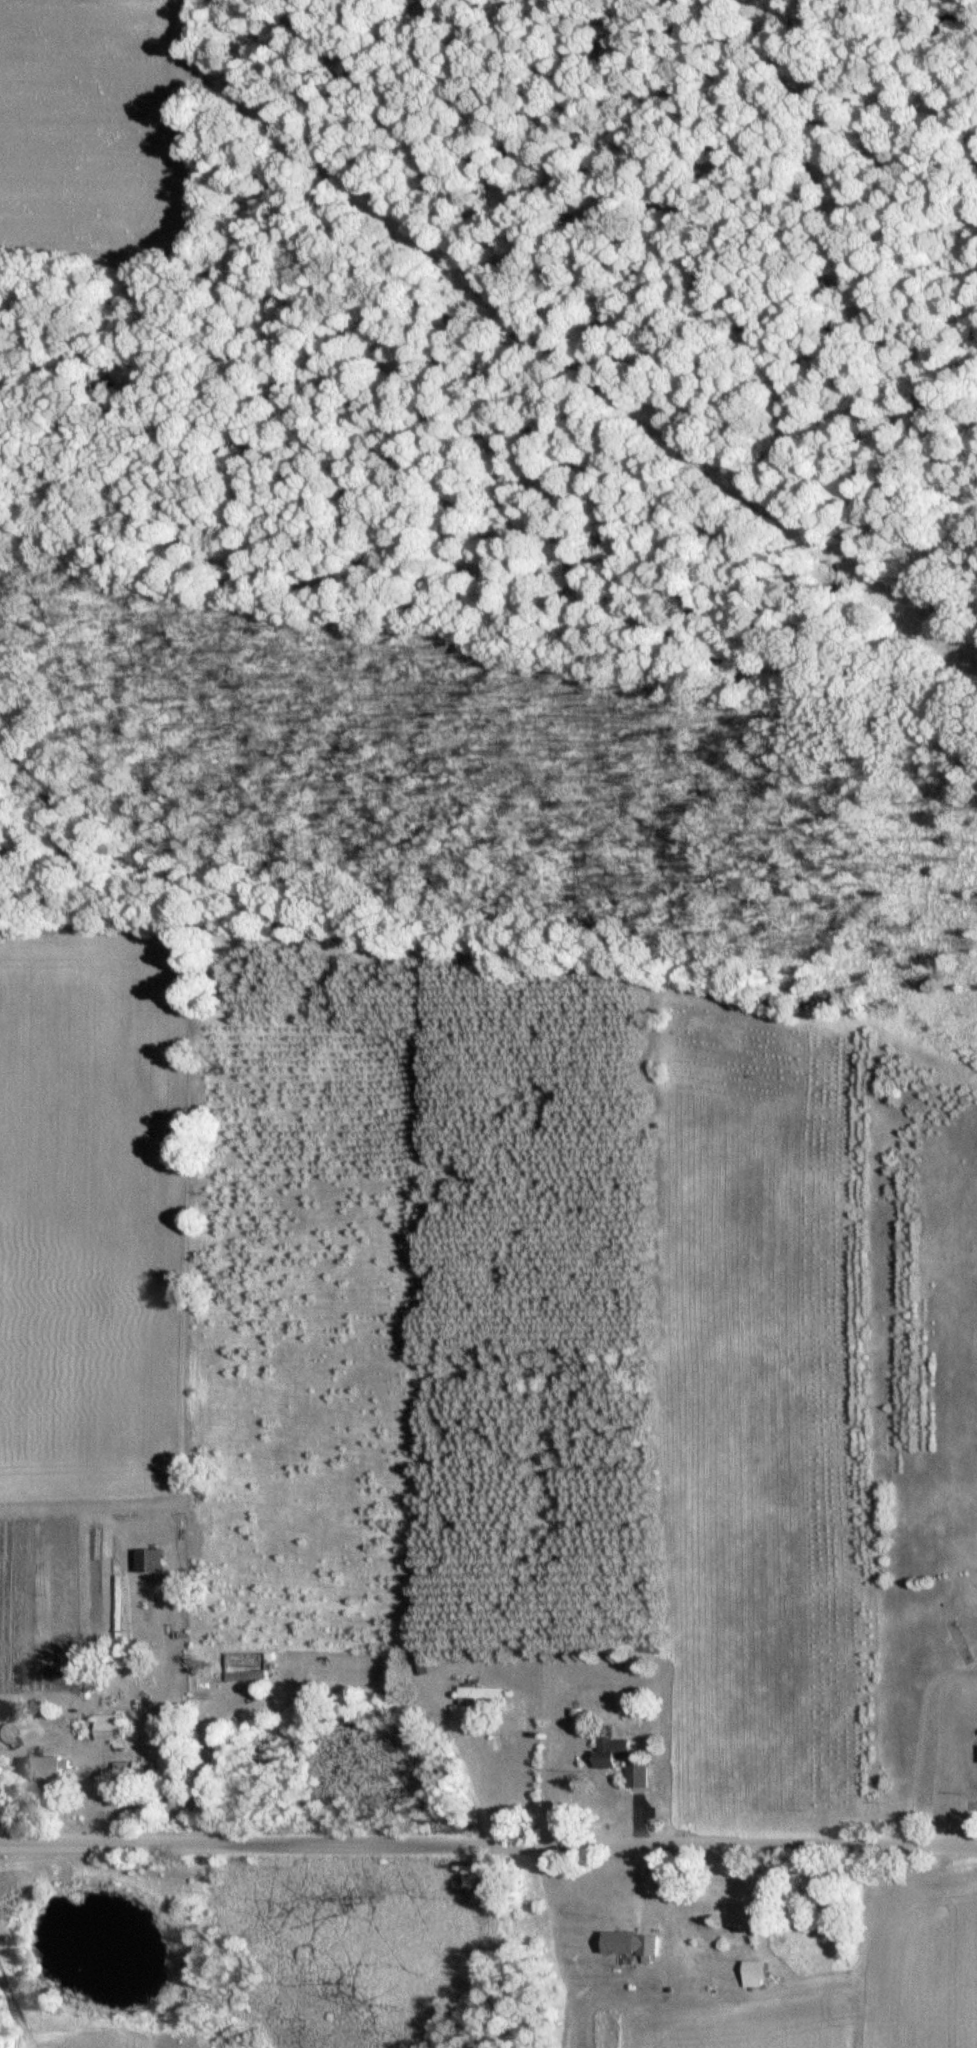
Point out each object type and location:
building: (151, 1560)
building: (958, 1642)
building: (249, 1675)
building: (478, 1695)
building: (111, 1729)
building: (610, 1752)
road: (207, 1756)
building: (45, 1766)
building: (635, 1775)
road: (488, 1845)
building: (629, 1944)
building: (756, 1973)

